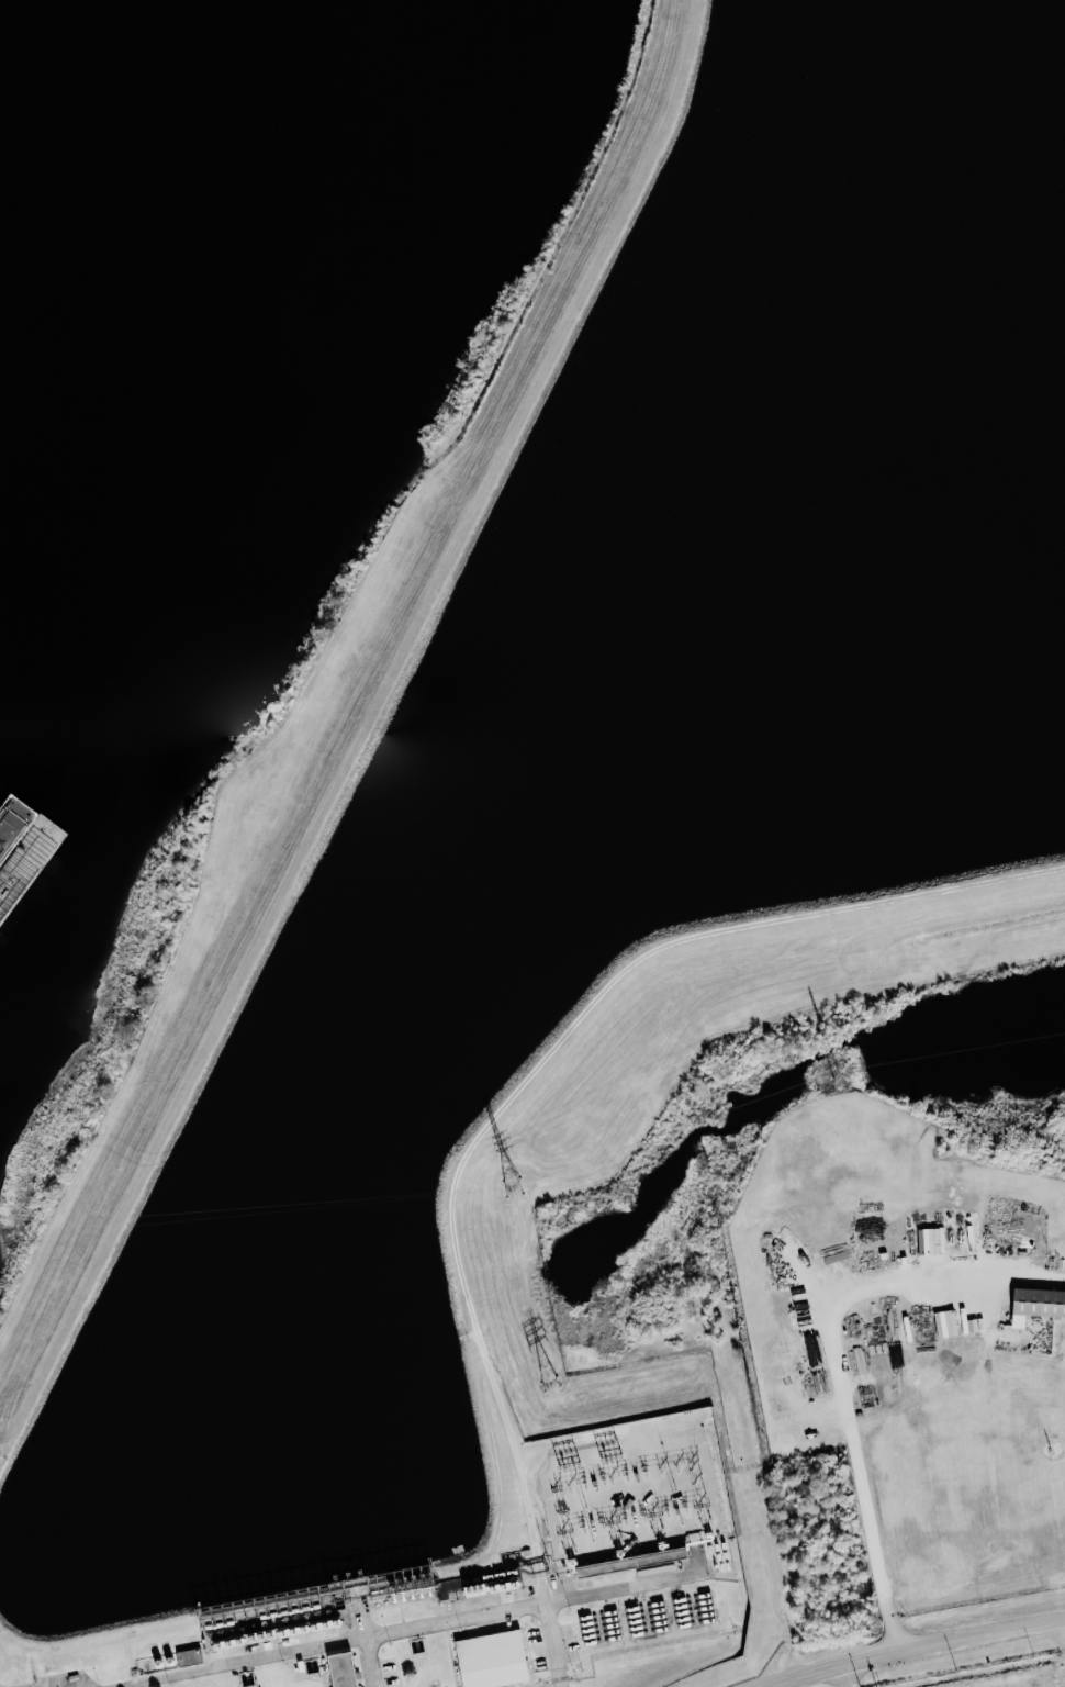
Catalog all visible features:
building: (2, 902)
road: (584, 996)
power tower: (839, 1076)
power tower: (514, 1188)
building: (929, 1240)
building: (1035, 1304)
road: (993, 1316)
road: (840, 1364)
power tower: (549, 1385)
road: (700, 1411)
power substation: (628, 1494)
road: (1063, 1631)
road: (327, 1645)
road: (556, 1645)
road: (910, 1647)
building: (489, 1658)
road: (375, 1662)
building: (338, 1669)
road: (845, 1675)

